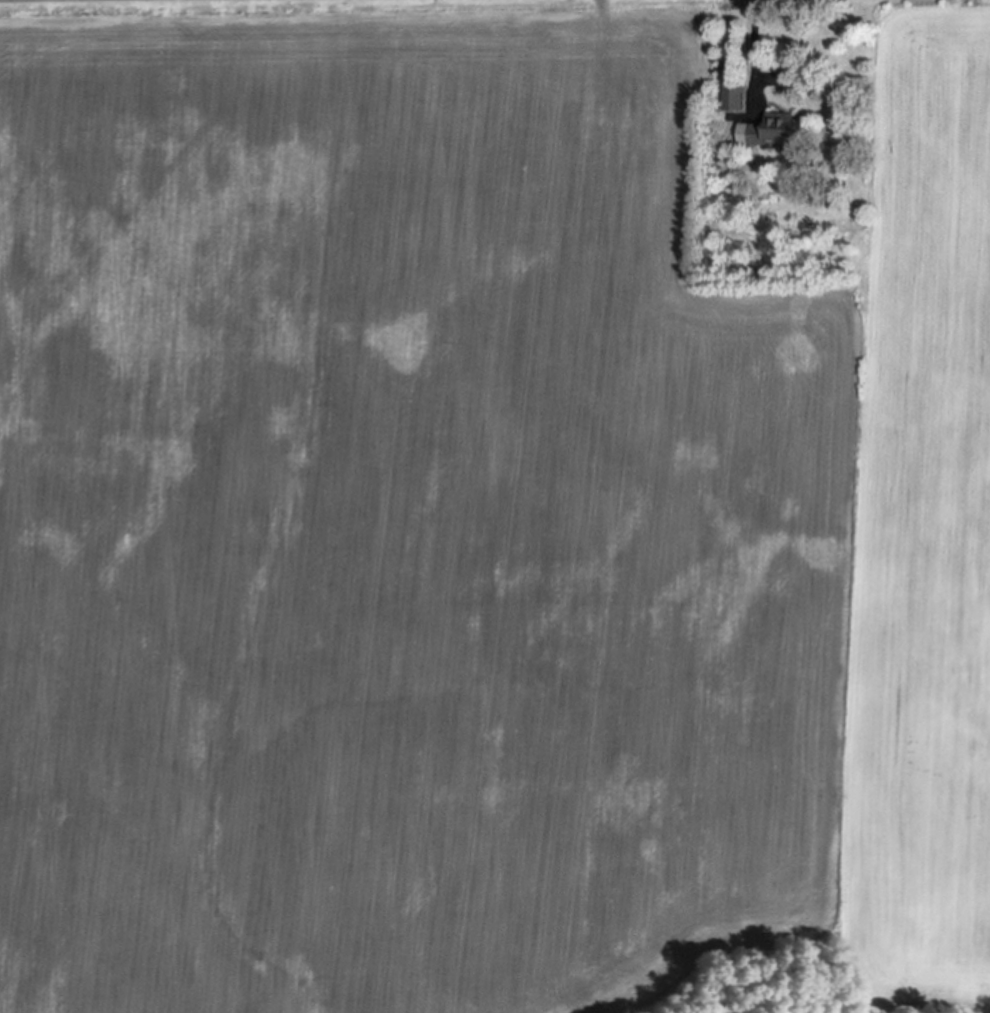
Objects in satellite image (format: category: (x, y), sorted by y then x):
road: (752, 50)
building: (766, 126)

